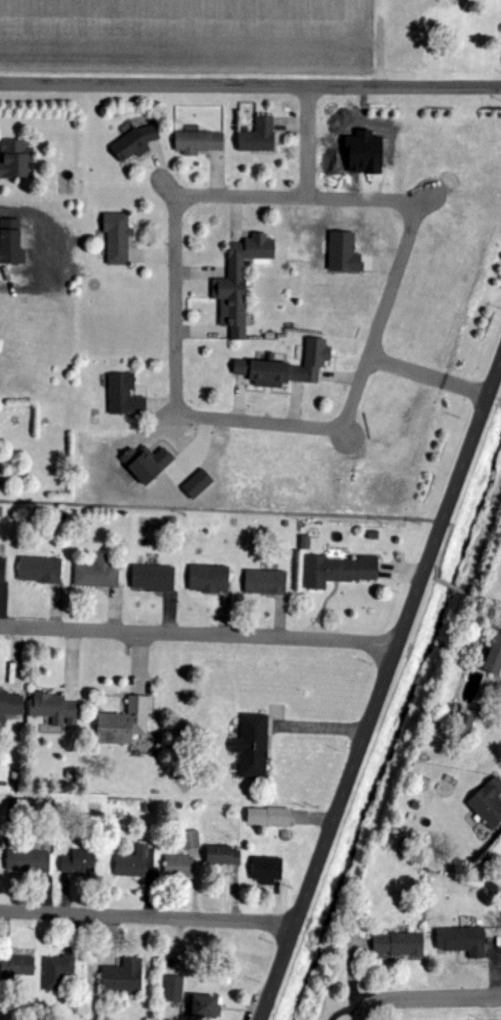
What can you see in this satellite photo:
crop: (188, 37)
road: (250, 82)
building: (259, 136)
road: (304, 140)
building: (136, 142)
building: (198, 142)
building: (15, 160)
road: (297, 196)
building: (117, 238)
building: (240, 282)
road: (174, 304)
road: (380, 310)
building: (287, 368)
road: (426, 377)
building: (124, 397)
road: (256, 418)
building: (147, 464)
building: (198, 484)
road: (253, 508)
building: (2, 570)
building: (40, 570)
building: (340, 571)
building: (98, 573)
building: (153, 579)
building: (210, 579)
building: (265, 583)
road: (457, 587)
road: (489, 600)
road: (197, 636)
building: (495, 658)
road: (377, 690)
building: (11, 704)
building: (55, 709)
building: (125, 723)
building: (465, 725)
building: (253, 746)
building: (488, 803)
building: (269, 816)
building: (191, 840)
building: (223, 855)
building: (29, 861)
building: (79, 862)
building: (136, 862)
building: (179, 866)
building: (267, 870)
road: (145, 916)
building: (462, 941)
building: (399, 944)
road: (353, 965)
building: (18, 967)
building: (57, 972)
building: (123, 977)
building: (174, 988)
road: (428, 996)
building: (206, 1006)
road: (355, 1009)

